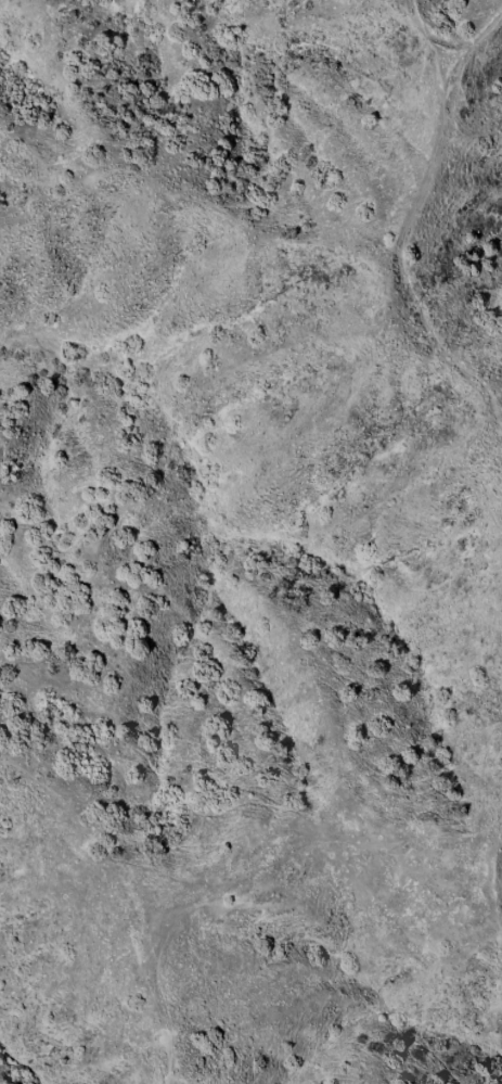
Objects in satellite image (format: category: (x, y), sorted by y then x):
road: (415, 217)
road: (248, 845)

